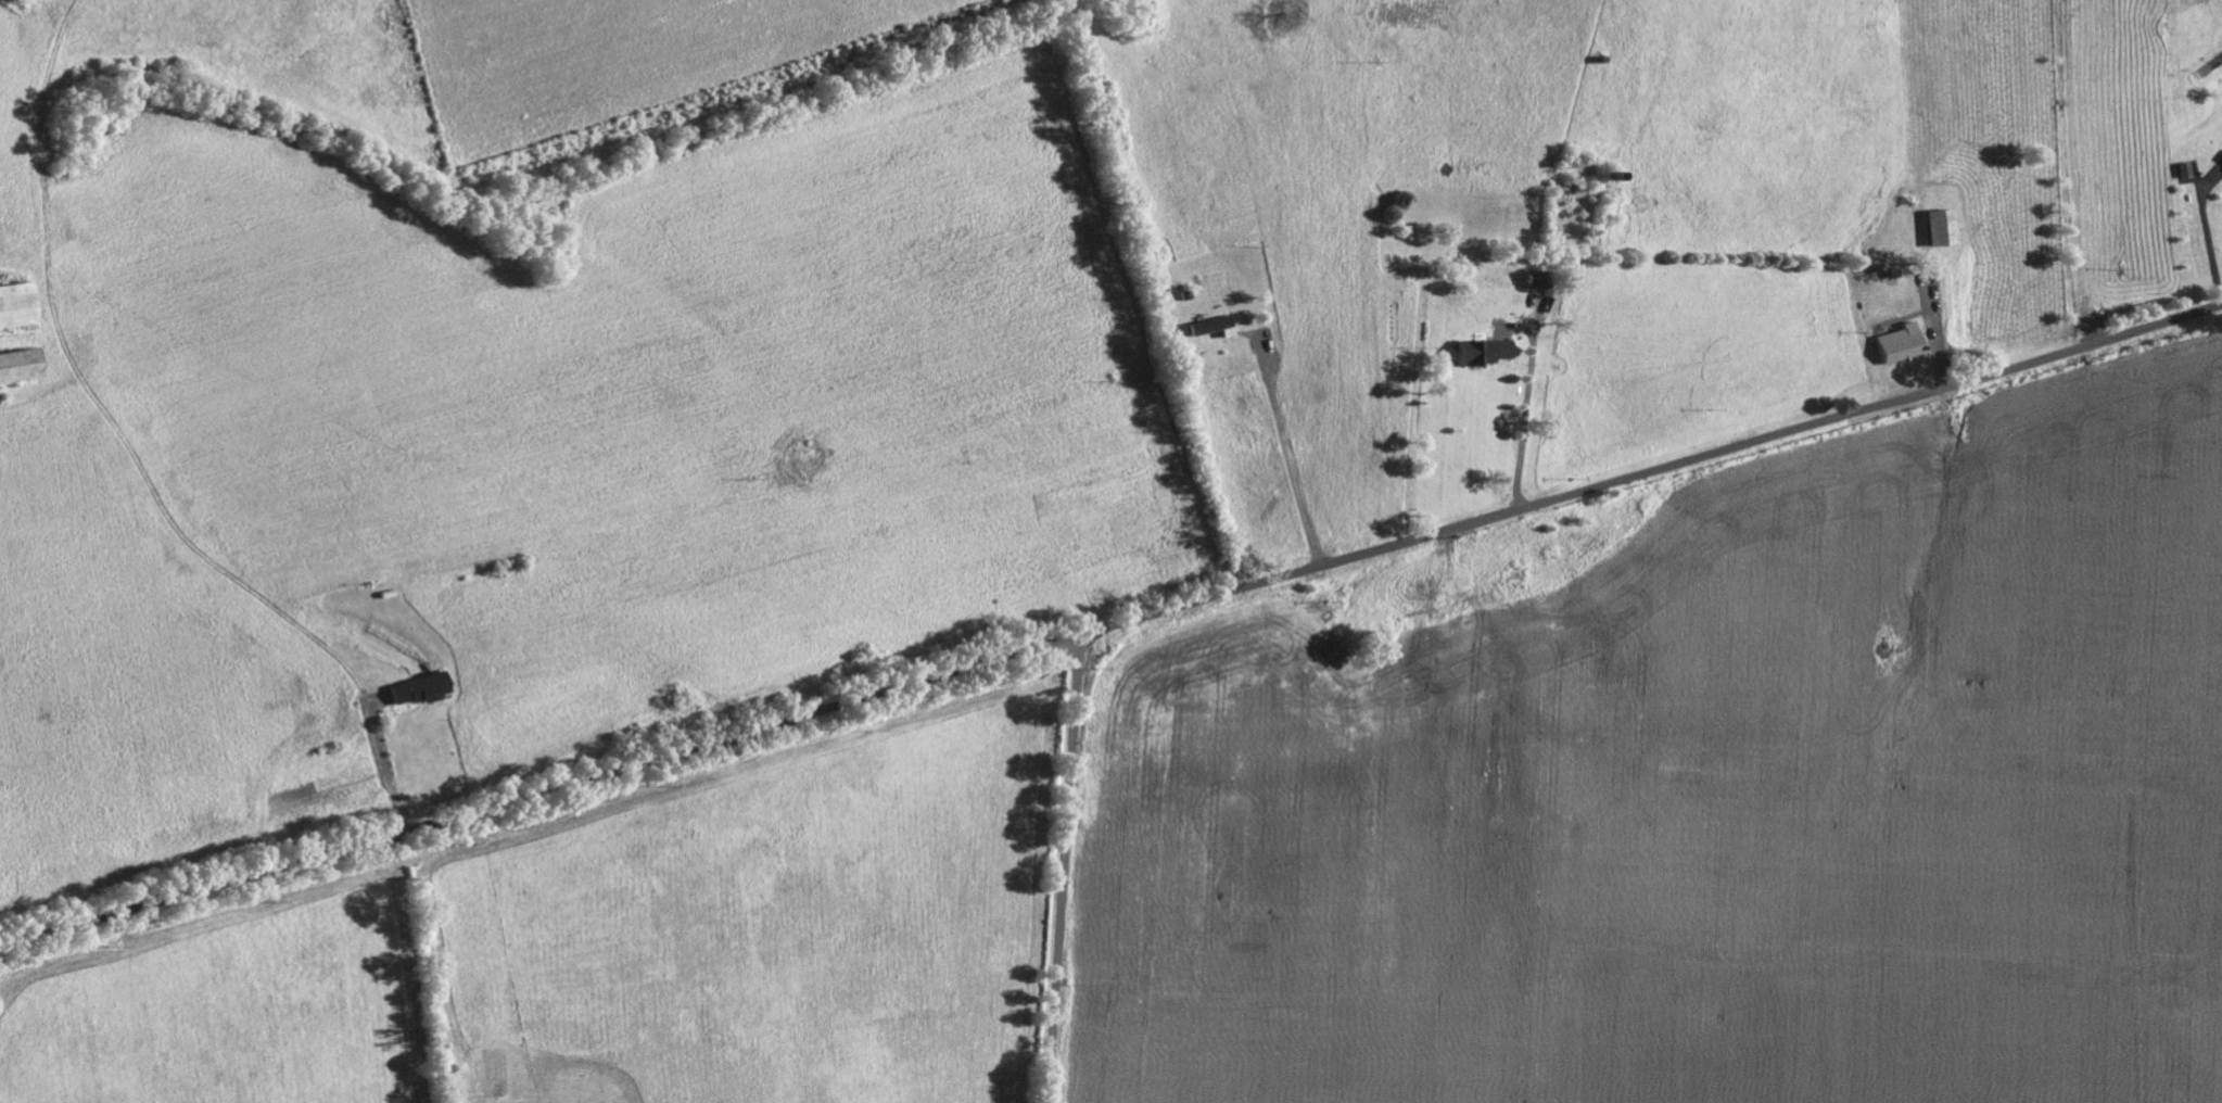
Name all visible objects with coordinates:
building: (2189, 172)
building: (1945, 229)
building: (1542, 280)
building: (16, 310)
building: (1216, 328)
building: (1903, 345)
building: (1487, 353)
building: (18, 367)
road: (1525, 429)
road: (1292, 461)
road: (205, 557)
road: (1110, 623)
building: (420, 690)
road: (1067, 867)

